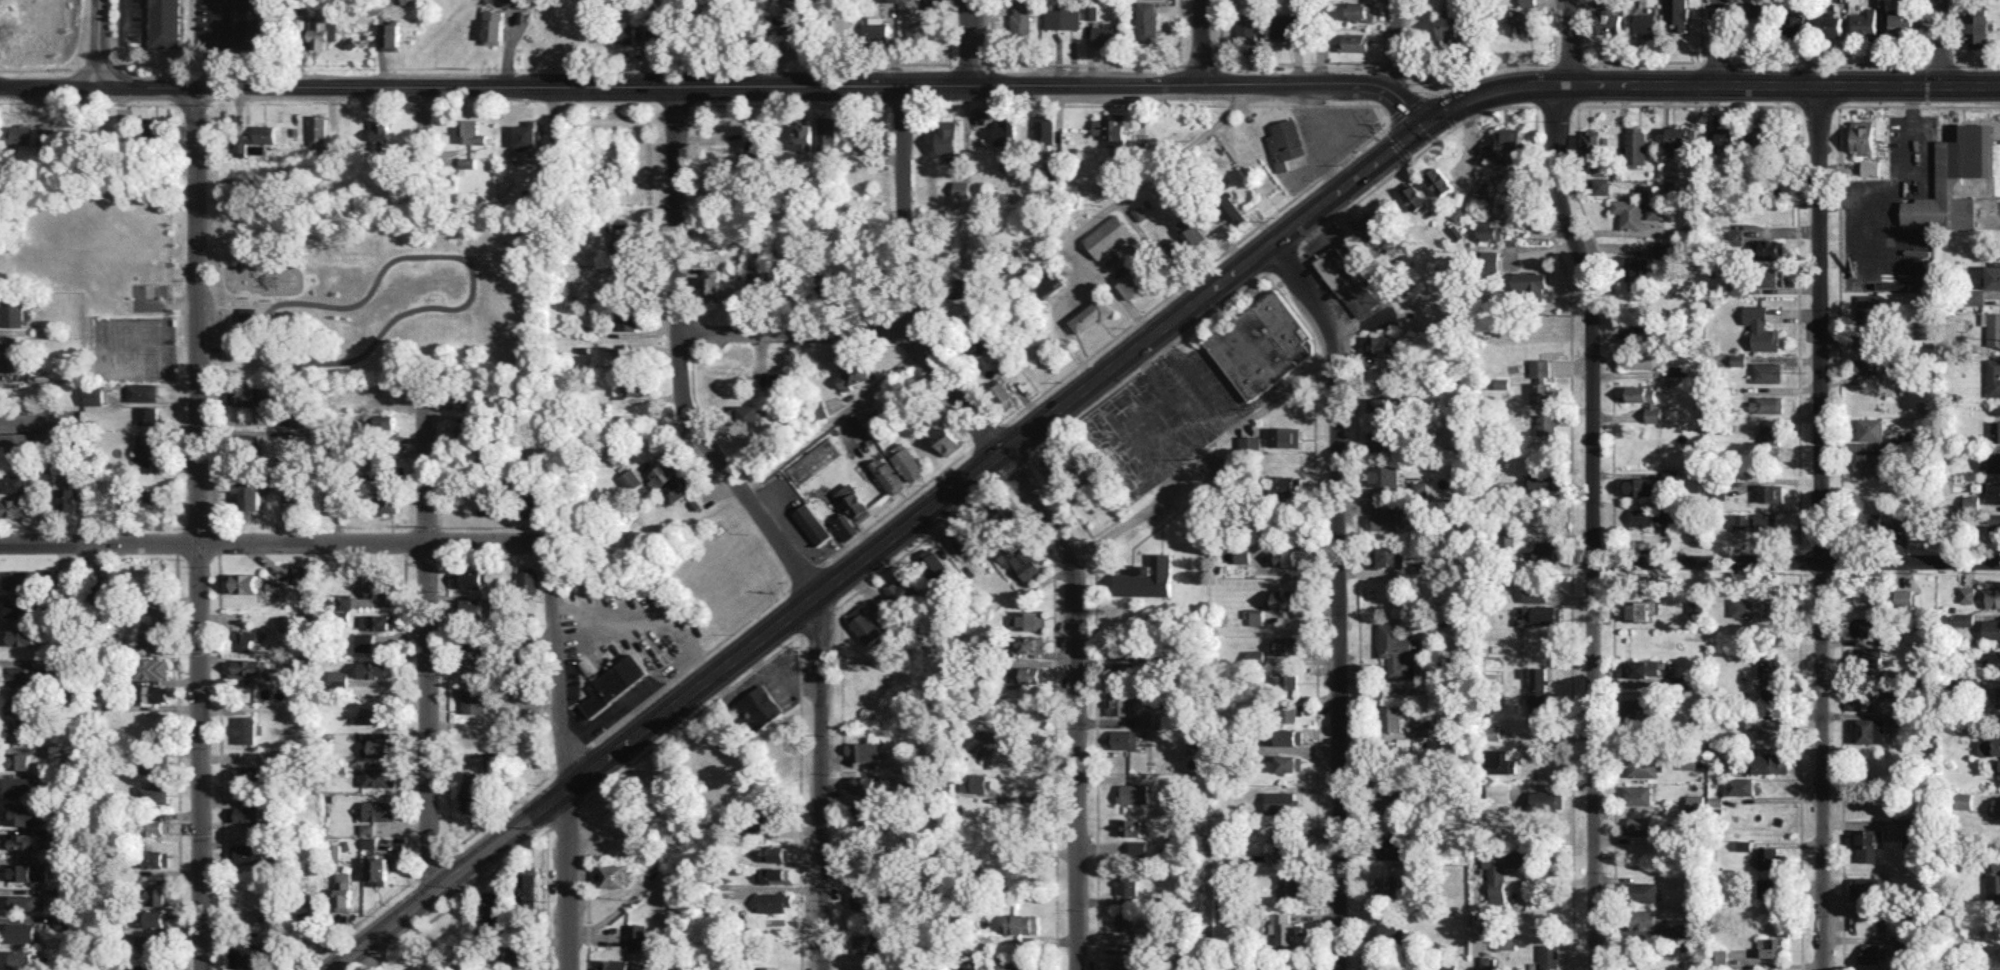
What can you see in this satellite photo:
building: (410, 1)
building: (154, 2)
building: (513, 2)
building: (1528, 2)
building: (1880, 3)
building: (908, 6)
building: (1758, 8)
road: (123, 13)
building: (1677, 14)
building: (793, 17)
building: (1064, 18)
building: (1022, 19)
building: (1528, 20)
building: (1608, 20)
building: (1865, 22)
building: (1904, 22)
building: (1645, 23)
building: (1795, 24)
building: (1285, 25)
building: (1832, 25)
building: (918, 26)
building: (1448, 27)
building: (494, 28)
building: (874, 28)
building: (1248, 29)
building: (250, 30)
building: (1977, 30)
building: (323, 33)
building: (623, 33)
building: (1107, 35)
road: (101, 42)
road: (218, 42)
road: (971, 42)
road: (1199, 42)
road: (1568, 42)
road: (1716, 42)
road: (1938, 43)
road: (1394, 45)
road: (722, 86)
road: (789, 103)
road: (902, 103)
road: (1386, 125)
building: (1112, 126)
building: (1046, 128)
building: (1005, 132)
building: (19, 133)
building: (804, 136)
building: (1681, 136)
building: (1863, 136)
building: (948, 137)
building: (1723, 137)
building: (1764, 138)
building: (1117, 142)
building: (1287, 144)
building: (1636, 144)
building: (1509, 145)
building: (1593, 147)
road: (423, 150)
building: (1870, 167)
building: (1054, 171)
building: (1439, 180)
building: (1667, 184)
road: (1913, 184)
building: (1601, 185)
building: (1955, 187)
building: (961, 188)
building: (1413, 195)
building: (1656, 208)
building: (1231, 210)
building: (1629, 212)
building: (606, 225)
building: (1373, 229)
building: (1191, 230)
building: (1488, 230)
building: (1735, 238)
building: (1663, 248)
building: (1772, 248)
building: (1495, 261)
building: (1637, 267)
building: (1993, 275)
building: (1771, 277)
park: (342, 279)
building: (753, 282)
building: (1530, 282)
park: (275, 284)
building: (711, 284)
building: (827, 284)
building: (1347, 284)
building: (1047, 285)
building: (1733, 286)
building: (961, 287)
park: (148, 295)
building: (1973, 296)
building: (13, 311)
building: (1093, 313)
building: (1867, 321)
building: (1761, 327)
building: (1993, 328)
building: (1645, 329)
building: (1920, 329)
park: (132, 331)
road: (798, 333)
building: (1262, 344)
building: (1380, 345)
building: (973, 348)
building: (13, 356)
building: (626, 357)
building: (1738, 358)
building: (1641, 359)
park: (133, 363)
building: (1864, 365)
building: (1540, 367)
road: (1109, 368)
building: (1767, 371)
building: (856, 372)
building: (1993, 377)
building: (778, 379)
building: (1904, 383)
building: (618, 386)
building: (635, 386)
building: (151, 391)
building: (1542, 392)
building: (384, 393)
building: (1003, 394)
building: (95, 395)
building: (244, 396)
building: (1646, 400)
building: (470, 403)
building: (1380, 404)
building: (1766, 404)
building: (818, 409)
building: (1997, 409)
building: (149, 414)
building: (749, 414)
road: (33, 418)
building: (1547, 423)
building: (381, 424)
building: (1722, 428)
building: (467, 429)
building: (1870, 429)
building: (1996, 431)
building: (941, 432)
road: (986, 433)
building: (1769, 435)
building: (1917, 438)
building: (1381, 439)
building: (33, 442)
building: (148, 444)
building: (1990, 461)
building: (909, 464)
building: (146, 465)
building: (1868, 465)
building: (370, 466)
building: (889, 475)
building: (1385, 475)
building: (630, 481)
building: (1545, 481)
building: (13, 483)
building: (1286, 484)
building: (1638, 486)
building: (1419, 488)
building: (676, 490)
building: (1717, 490)
building: (70, 492)
building: (1993, 492)
building: (1770, 493)
building: (249, 494)
building: (151, 495)
building: (328, 495)
building: (389, 498)
building: (853, 501)
building: (1971, 501)
building: (532, 502)
road: (896, 504)
building: (14, 507)
road: (1045, 509)
building: (1004, 510)
building: (1662, 514)
building: (1642, 516)
building: (1385, 520)
building: (1756, 520)
building: (1872, 521)
building: (1899, 521)
building: (1994, 522)
building: (813, 523)
road: (1594, 523)
road: (765, 524)
road: (1123, 524)
building: (846, 526)
road: (199, 527)
road: (1820, 527)
building: (1507, 534)
building: (963, 538)
road: (271, 542)
building: (1546, 550)
building: (1242, 554)
building: (1387, 556)
building: (1283, 557)
building: (1020, 561)
road: (1797, 562)
building: (934, 565)
building: (1422, 567)
road: (805, 574)
building: (64, 575)
building: (302, 575)
building: (470, 578)
building: (1148, 578)
building: (21, 579)
building: (243, 582)
building: (528, 582)
building: (103, 584)
building: (382, 586)
building: (904, 590)
building: (1535, 591)
building: (1967, 593)
road: (1339, 595)
building: (1865, 597)
building: (1903, 597)
building: (1993, 597)
building: (1286, 599)
building: (344, 601)
building: (470, 605)
building: (1654, 605)
building: (18, 607)
building: (1758, 608)
building: (1635, 610)
building: (1540, 614)
building: (1255, 615)
building: (1028, 619)
building: (1959, 619)
building: (378, 621)
building: (864, 624)
building: (1864, 626)
building: (1991, 628)
building: (148, 630)
building: (21, 637)
building: (244, 639)
building: (365, 641)
road: (430, 641)
building: (474, 641)
building: (1029, 643)
building: (1287, 645)
building: (1398, 650)
building: (1963, 652)
building: (1255, 656)
building: (1145, 657)
building: (1866, 657)
building: (304, 663)
road: (689, 665)
building: (474, 666)
building: (154, 667)
building: (248, 668)
building: (1644, 668)
building: (375, 669)
building: (1119, 671)
building: (1029, 674)
building: (1893, 674)
building: (1771, 675)
building: (25, 676)
building: (340, 678)
building: (1972, 679)
building: (1284, 681)
building: (615, 683)
building: (525, 689)
building: (1537, 690)
building: (152, 693)
building: (1999, 696)
building: (475, 699)
building: (1863, 699)
building: (1118, 700)
building: (20, 702)
building: (528, 708)
building: (757, 708)
building: (1641, 709)
building: (1290, 711)
building: (372, 714)
building: (1898, 717)
building: (1392, 718)
building: (1144, 720)
building: (1770, 728)
building: (246, 729)
building: (1423, 730)
building: (1871, 730)
building: (18, 731)
building: (1493, 732)
building: (1290, 736)
building: (1122, 738)
building: (988, 739)
building: (380, 746)
building: (864, 750)
building: (1991, 750)
building: (1268, 753)
road: (570, 755)
road: (565, 757)
building: (20, 760)
building: (153, 760)
building: (1499, 761)
building: (492, 762)
building: (1290, 763)
building: (1770, 763)
building: (1644, 767)
building: (251, 775)
building: (379, 776)
building: (973, 782)
building: (866, 784)
building: (1739, 785)
building: (21, 786)
building: (471, 791)
building: (1134, 793)
building: (1498, 793)
building: (154, 794)
building: (1639, 794)
building: (1548, 799)
building: (1716, 800)
building: (1282, 801)
building: (1391, 802)
building: (1695, 802)
building: (1979, 803)
road: (501, 809)
building: (380, 810)
building: (866, 811)
building: (23, 813)
building: (773, 813)
building: (249, 815)
building: (1640, 825)
building: (157, 826)
building: (1129, 827)
building: (1913, 832)
building: (23, 840)
building: (370, 842)
building: (1867, 842)
building: (1744, 845)
building: (1391, 846)
building: (1138, 848)
building: (334, 852)
building: (777, 852)
building: (1284, 852)
building: (248, 853)
building: (1769, 857)
building: (157, 858)
road: (432, 863)
building: (1995, 864)
building: (378, 870)
building: (1501, 870)
building: (27, 872)
building: (773, 874)
building: (615, 875)
building: (1387, 884)
building: (1868, 885)
building: (1290, 886)
building: (1767, 887)
building: (1994, 887)
building: (1128, 888)
building: (527, 889)
building: (344, 891)
building: (1645, 891)
building: (160, 894)
building: (864, 899)
building: (25, 901)
building: (775, 902)
building: (496, 905)
building: (310, 913)
building: (1225, 917)
building: (158, 918)
building: (1646, 919)
building: (1125, 920)
road: (354, 923)
building: (1023, 923)
building: (1865, 924)
building: (1283, 926)
building: (1388, 930)
building: (23, 932)
building: (637, 935)
building: (1511, 941)
building: (149, 942)
building: (868, 943)
building: (1905, 944)
building: (1774, 947)
building: (518, 953)
building: (1872, 953)
building: (1550, 954)
building: (249, 956)
building: (1720, 956)
building: (21, 959)
building: (1010, 963)
building: (1489, 963)
building: (615, 964)
building: (1123, 964)
building: (969, 965)
building: (151, 966)
building: (771, 967)
building: (1437, 967)
building: (523, 969)
building: (875, 969)
building: (1289, 969)

